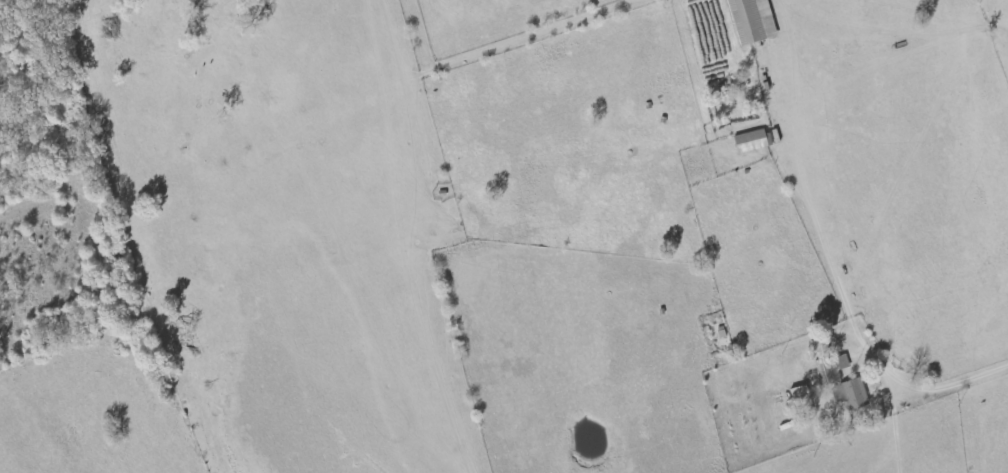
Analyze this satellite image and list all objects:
building: (754, 21)
road: (840, 292)
building: (844, 382)

